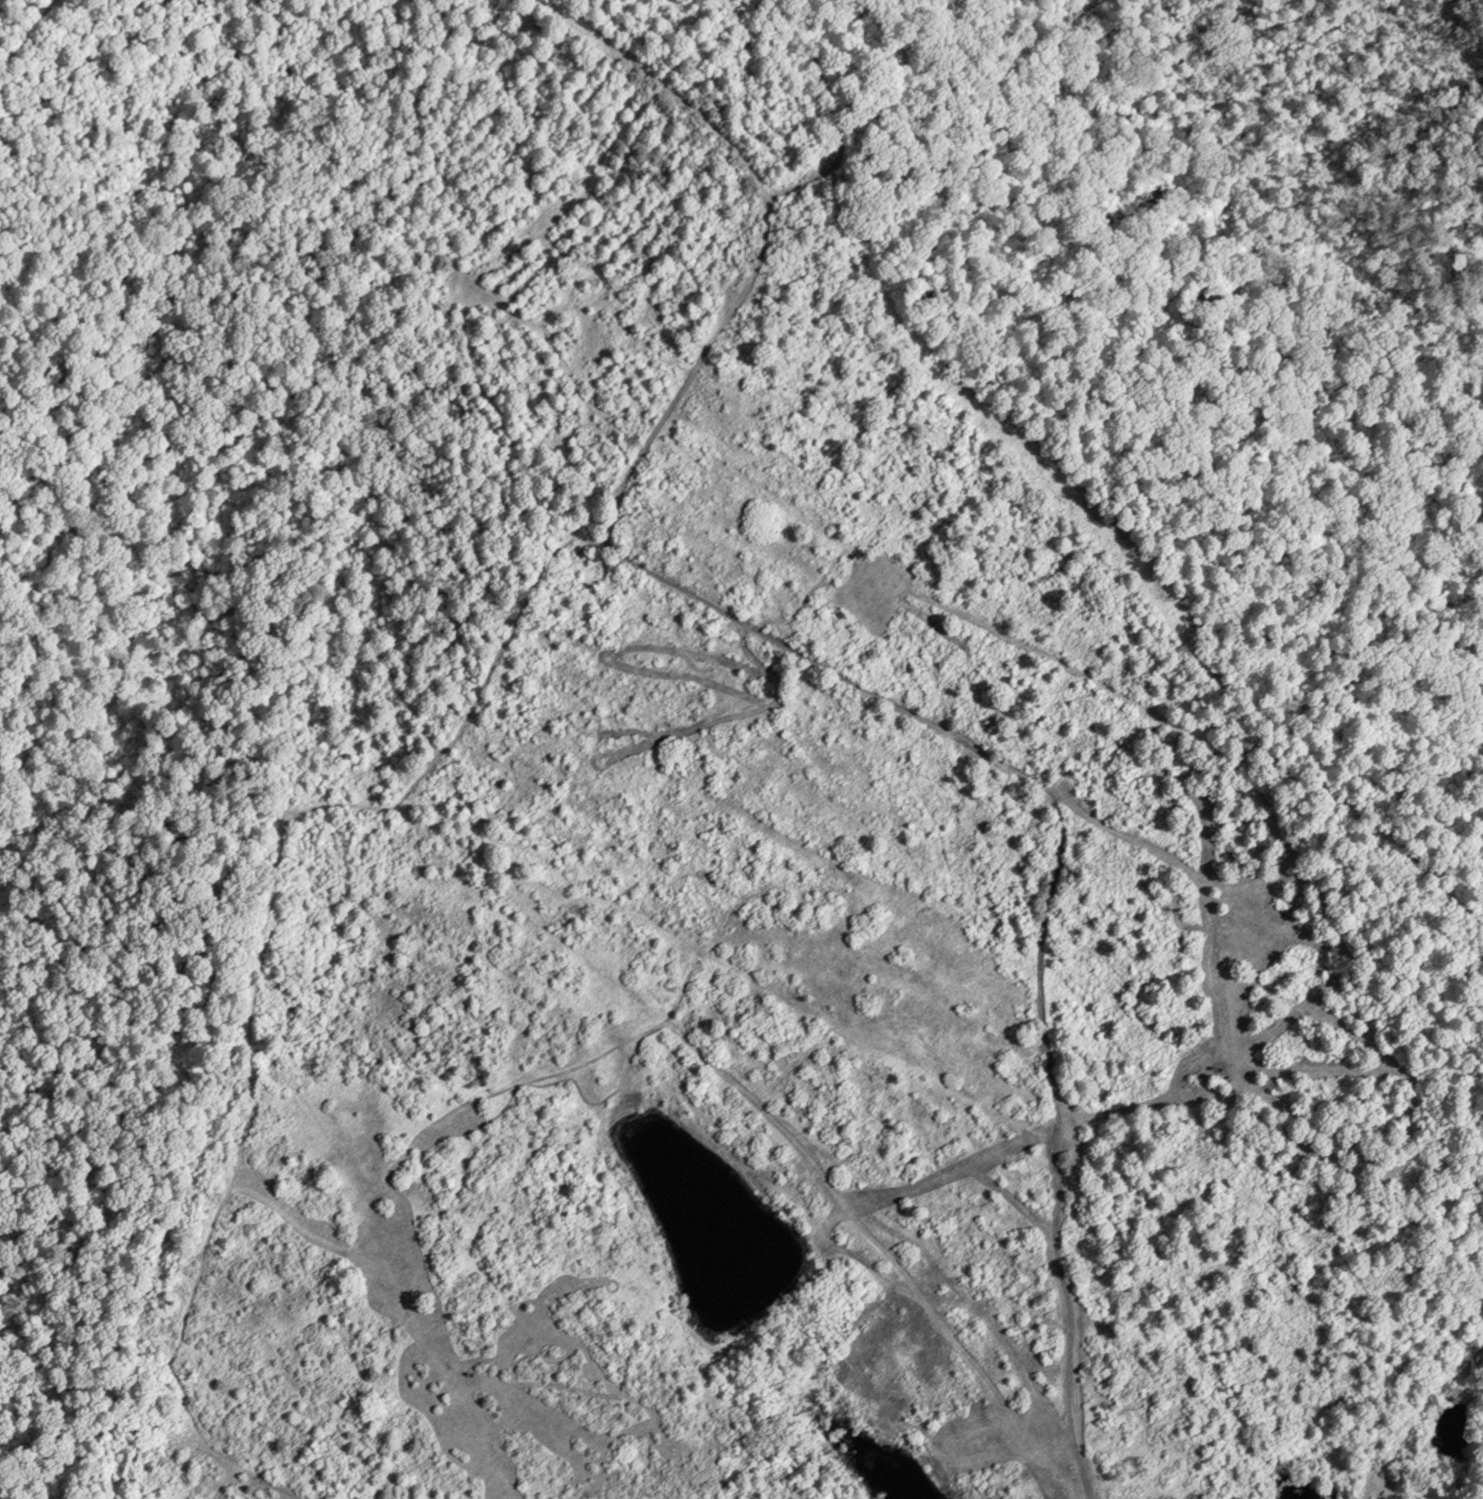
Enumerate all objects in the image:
road: (767, 225)
road: (1054, 883)
road: (261, 961)

